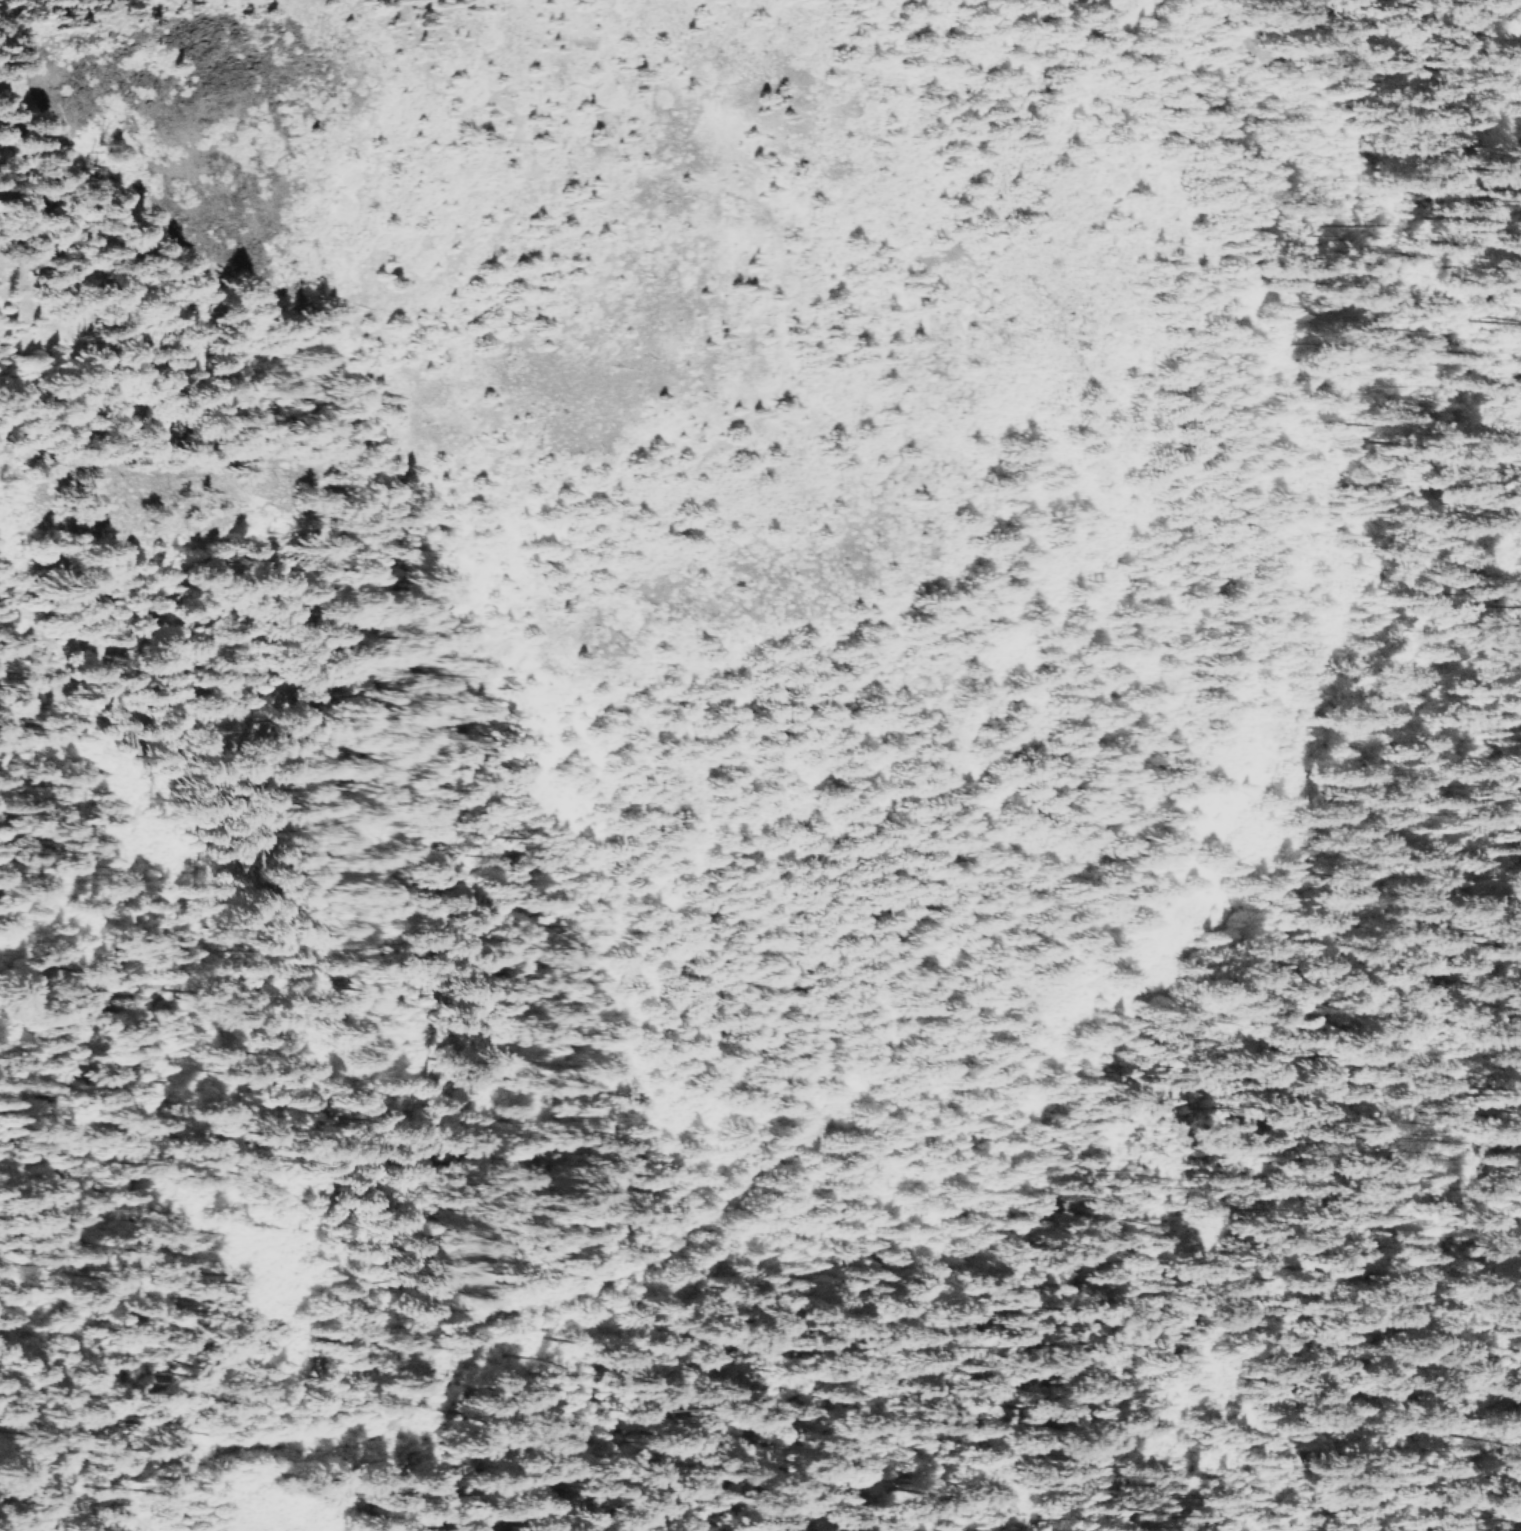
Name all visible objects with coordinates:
road: (510, 1360)

